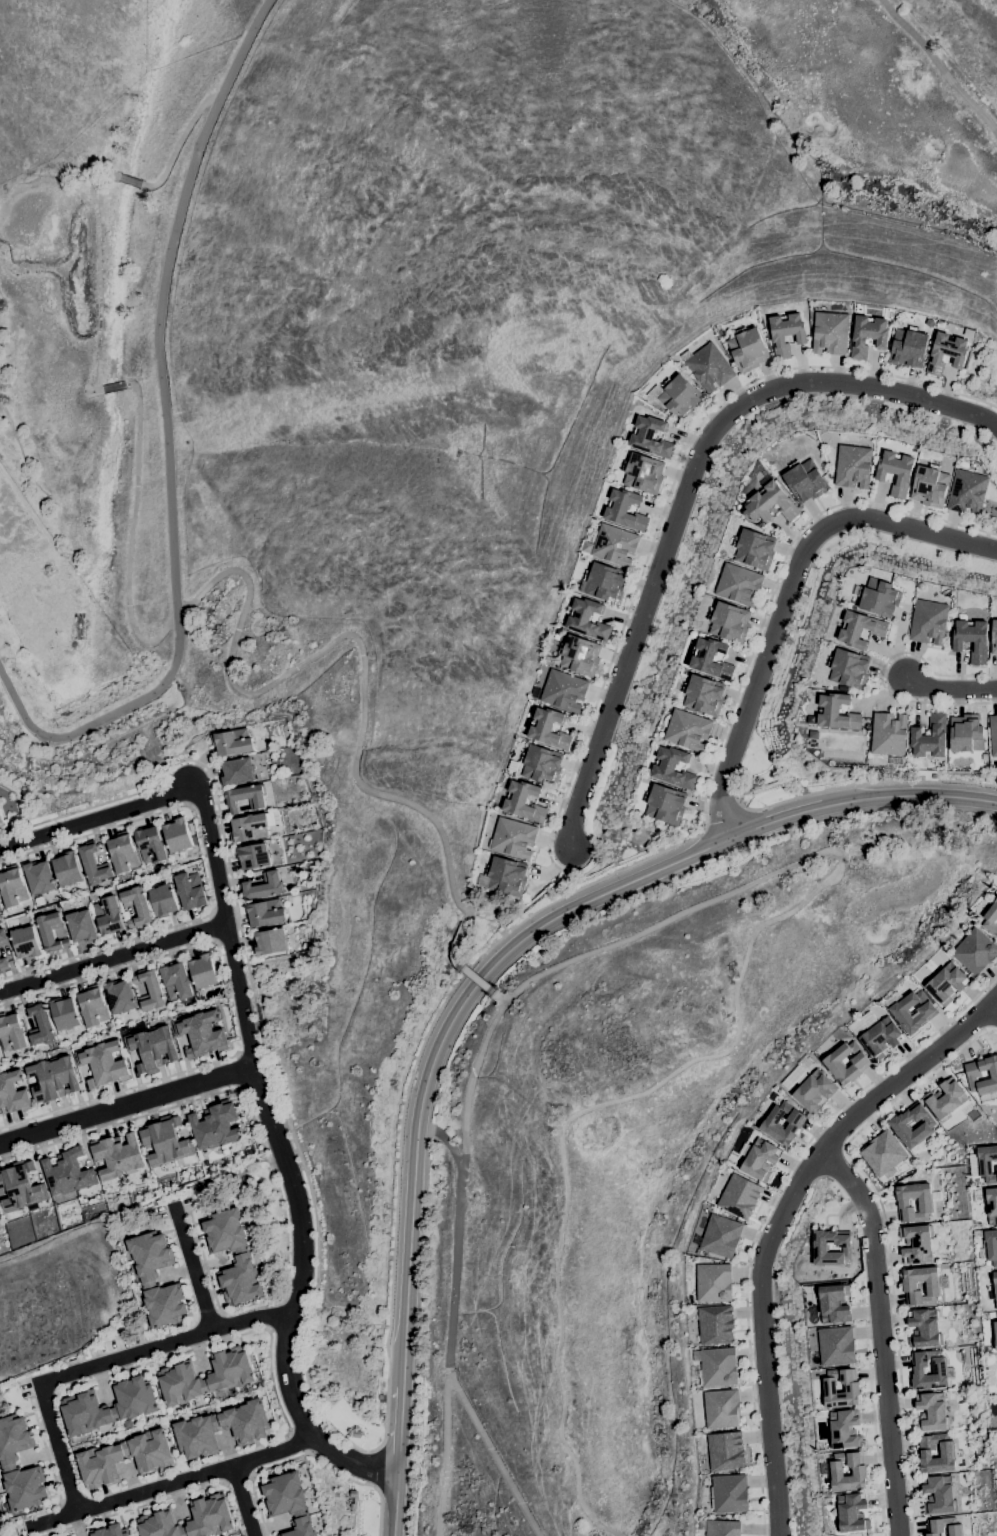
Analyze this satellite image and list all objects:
road: (939, 67)
road: (178, 143)
road: (92, 177)
road: (128, 180)
road: (98, 294)
building: (786, 333)
building: (830, 333)
building: (969, 333)
building: (867, 335)
building: (908, 347)
building: (747, 349)
building: (946, 353)
building: (709, 367)
road: (113, 386)
road: (91, 391)
building: (680, 396)
building: (650, 437)
road: (167, 439)
building: (853, 466)
building: (896, 472)
building: (643, 473)
building: (805, 481)
building: (930, 486)
road: (685, 492)
building: (968, 492)
road: (668, 494)
building: (773, 502)
building: (625, 510)
building: (613, 545)
building: (754, 549)
park: (477, 557)
building: (605, 581)
building: (739, 584)
road: (788, 593)
building: (879, 597)
building: (587, 619)
building: (729, 622)
building: (928, 622)
building: (860, 629)
building: (994, 638)
building: (971, 639)
building: (579, 655)
building: (711, 659)
building: (849, 669)
road: (996, 670)
road: (881, 672)
road: (949, 687)
building: (564, 690)
road: (240, 691)
building: (704, 695)
building: (837, 712)
building: (549, 728)
building: (688, 730)
building: (966, 733)
building: (888, 734)
building: (993, 734)
building: (930, 737)
building: (232, 742)
building: (542, 764)
building: (513, 766)
building: (673, 768)
building: (237, 771)
road: (860, 785)
building: (756, 786)
building: (745, 790)
building: (245, 797)
building: (1, 801)
building: (524, 802)
building: (665, 804)
road: (725, 817)
building: (1, 821)
building: (248, 827)
road: (95, 831)
building: (177, 837)
building: (513, 837)
building: (150, 845)
building: (122, 853)
building: (253, 856)
building: (93, 864)
building: (66, 868)
building: (507, 876)
building: (39, 877)
building: (264, 886)
building: (12, 887)
building: (190, 890)
building: (163, 900)
building: (137, 907)
building: (0, 909)
building: (0, 911)
building: (265, 913)
building: (108, 915)
building: (991, 919)
building: (81, 926)
building: (51, 932)
road: (532, 932)
building: (3, 937)
building: (270, 941)
building: (25, 942)
road: (108, 944)
building: (975, 951)
road: (113, 957)
building: (4, 964)
building: (203, 971)
road: (106, 973)
road: (741, 975)
road: (479, 979)
building: (176, 982)
building: (947, 983)
building: (149, 990)
building: (120, 996)
road: (500, 998)
building: (92, 1006)
road: (994, 1009)
building: (64, 1014)
building: (926, 1015)
building: (40, 1025)
building: (11, 1032)
road: (995, 1032)
building: (201, 1033)
building: (881, 1037)
building: (152, 1047)
road: (250, 1055)
building: (103, 1063)
building: (833, 1063)
building: (973, 1074)
building: (53, 1078)
road: (914, 1086)
road: (117, 1091)
road: (223, 1091)
building: (814, 1091)
building: (13, 1092)
building: (946, 1099)
road: (126, 1105)
building: (771, 1125)
building: (216, 1126)
building: (900, 1126)
building: (164, 1141)
road: (445, 1141)
building: (882, 1153)
building: (117, 1155)
building: (759, 1158)
building: (984, 1163)
building: (68, 1173)
building: (20, 1186)
building: (978, 1195)
building: (739, 1197)
building: (925, 1204)
building: (992, 1205)
road: (768, 1208)
road: (777, 1222)
building: (721, 1236)
building: (916, 1244)
building: (992, 1246)
building: (821, 1250)
road: (202, 1256)
building: (243, 1259)
road: (454, 1263)
road: (192, 1267)
building: (147, 1280)
road: (392, 1281)
building: (714, 1282)
building: (995, 1284)
building: (932, 1286)
building: (834, 1304)
building: (715, 1325)
building: (924, 1328)
building: (996, 1334)
road: (879, 1336)
road: (896, 1338)
road: (165, 1343)
road: (212, 1344)
building: (836, 1346)
building: (717, 1367)
building: (939, 1370)
building: (230, 1377)
building: (851, 1388)
building: (135, 1406)
building: (722, 1409)
road: (871, 1409)
building: (931, 1411)
road: (400, 1428)
building: (195, 1429)
building: (844, 1429)
building: (356, 1434)
road: (57, 1447)
road: (44, 1450)
building: (726, 1450)
building: (947, 1454)
road: (446, 1455)
road: (493, 1455)
building: (99, 1458)
building: (8, 1461)
road: (332, 1469)
building: (859, 1471)
road: (171, 1483)
building: (353, 1493)
building: (729, 1493)
building: (938, 1495)
road: (242, 1500)
building: (289, 1502)
road: (395, 1502)
building: (352, 1505)
road: (135, 1507)
road: (258, 1508)
building: (852, 1512)
building: (211, 1515)
building: (945, 1526)
building: (720, 1527)
building: (110, 1531)

